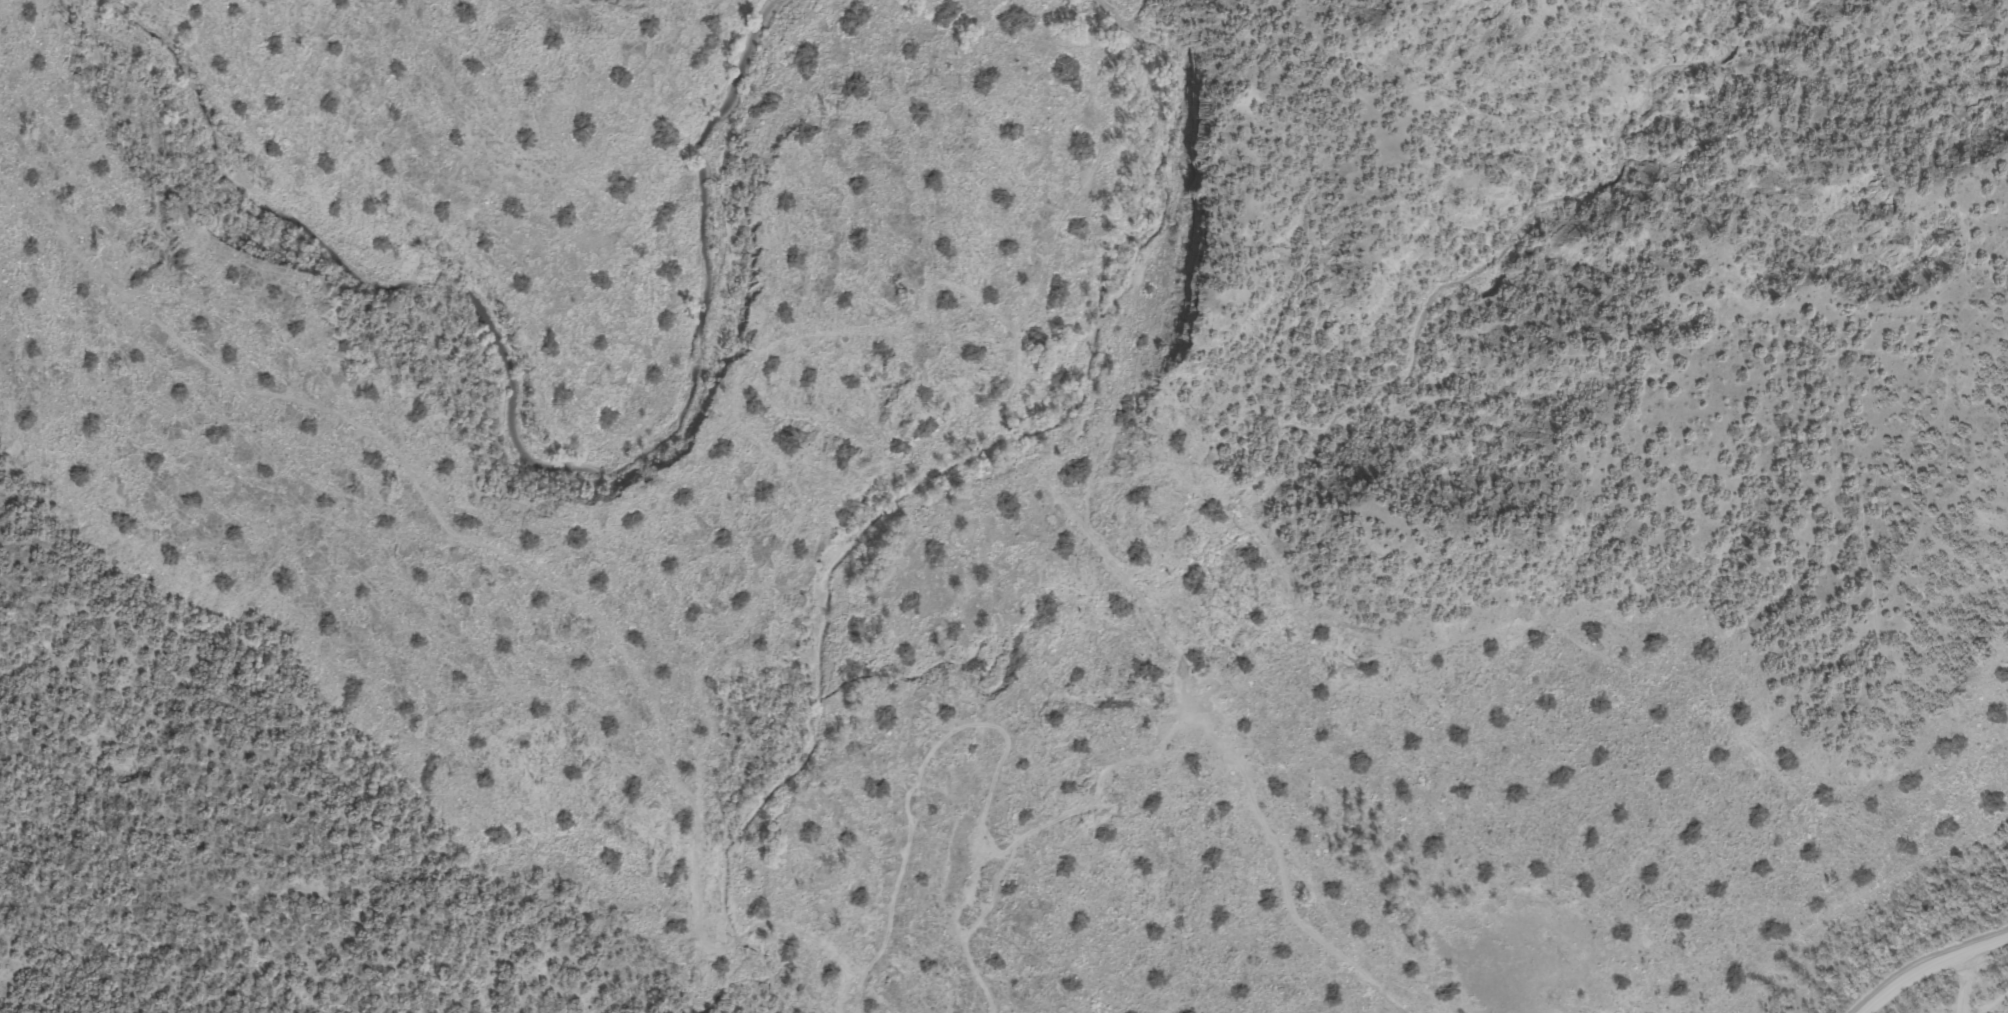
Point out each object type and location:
road: (1929, 964)
road: (1971, 979)

